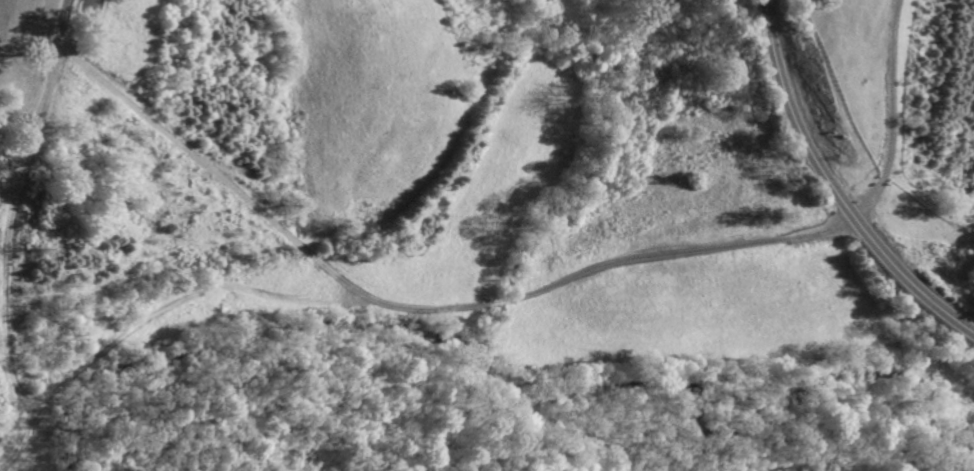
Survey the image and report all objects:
road: (890, 115)
road: (796, 117)
road: (214, 176)
road: (909, 284)
road: (223, 288)

